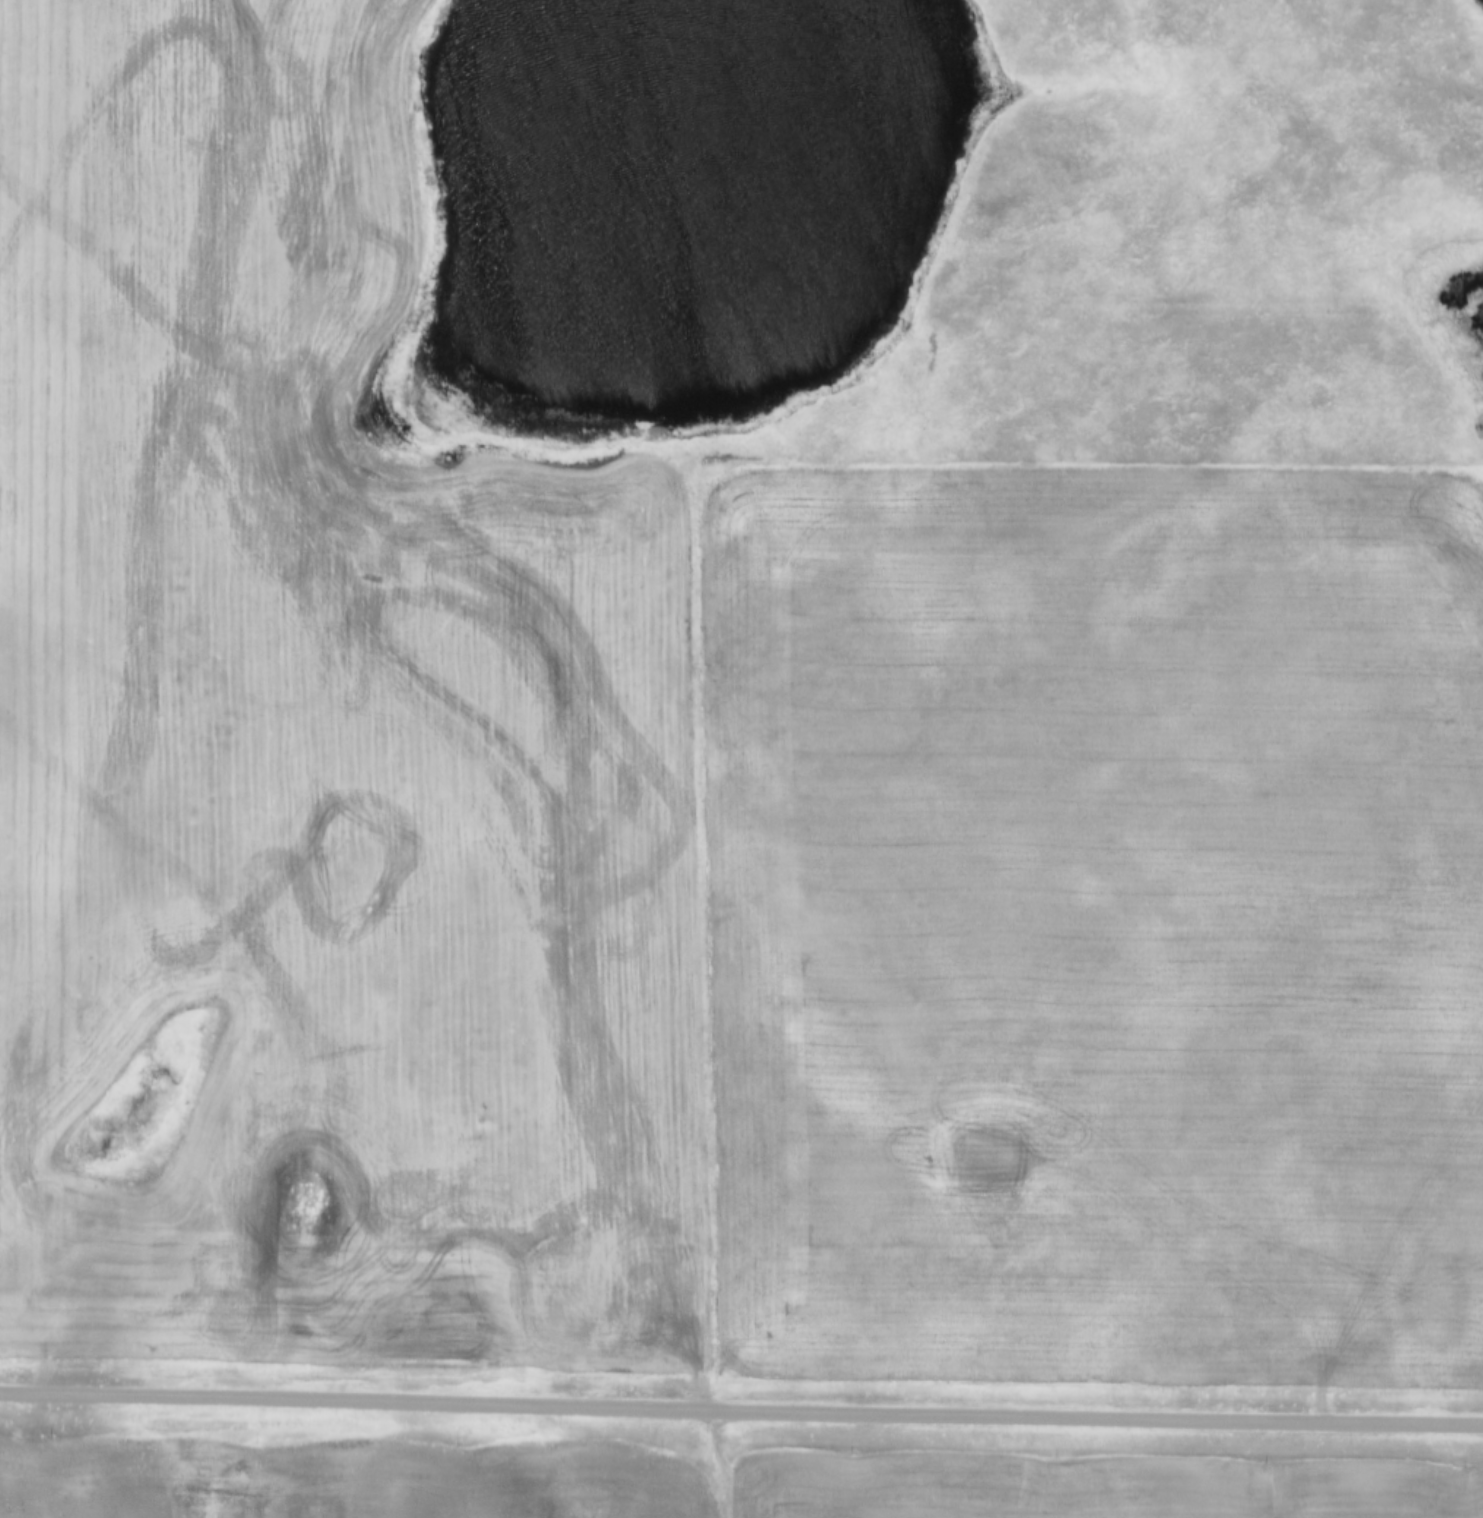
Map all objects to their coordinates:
road: (741, 1410)

